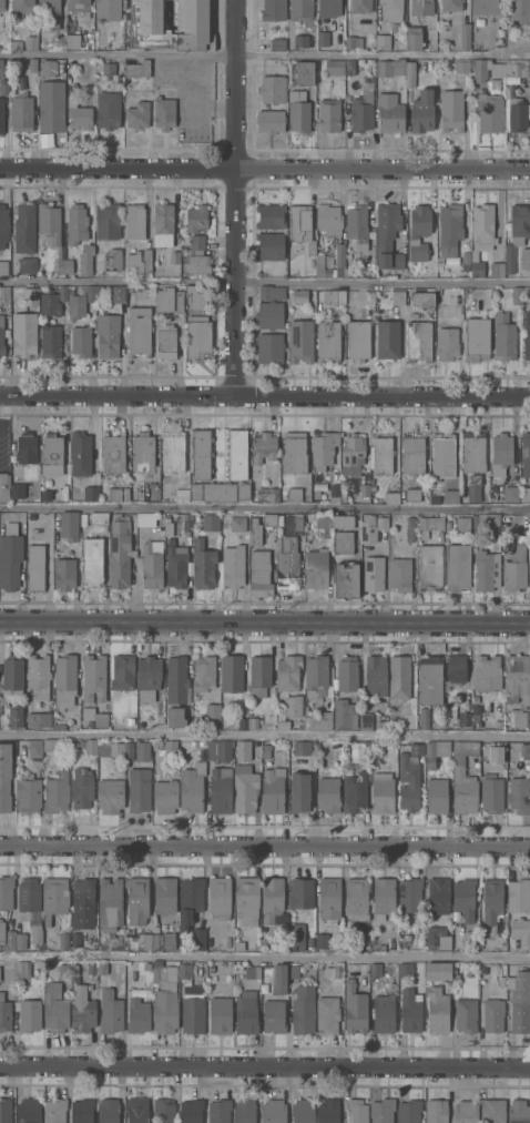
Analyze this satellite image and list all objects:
building: (1, 4)
building: (359, 4)
building: (450, 4)
building: (485, 6)
building: (21, 7)
building: (79, 7)
building: (327, 7)
building: (420, 7)
building: (108, 9)
building: (271, 9)
building: (390, 9)
building: (300, 10)
building: (520, 10)
building: (49, 13)
building: (146, 23)
building: (465, 34)
building: (414, 36)
building: (322, 37)
building: (299, 39)
building: (59, 40)
building: (72, 40)
building: (381, 40)
building: (31, 41)
building: (353, 41)
building: (277, 42)
building: (16, 43)
road: (115, 54)
road: (380, 55)
building: (32, 62)
building: (460, 63)
building: (517, 64)
building: (1, 65)
building: (48, 65)
building: (334, 65)
building: (351, 65)
building: (390, 65)
building: (106, 67)
building: (136, 67)
building: (303, 70)
building: (498, 70)
building: (410, 71)
building: (509, 77)
building: (3, 85)
building: (272, 87)
building: (51, 104)
building: (361, 107)
building: (106, 108)
building: (451, 108)
building: (298, 109)
building: (421, 109)
building: (21, 110)
building: (163, 110)
building: (489, 110)
building: (389, 111)
building: (137, 112)
building: (517, 112)
building: (78, 113)
building: (328, 113)
building: (2, 118)
building: (269, 119)
road: (265, 166)
road: (231, 195)
building: (271, 214)
building: (196, 216)
building: (328, 216)
building: (106, 219)
building: (420, 219)
building: (133, 220)
building: (482, 221)
building: (75, 222)
building: (3, 223)
building: (48, 223)
building: (162, 223)
building: (302, 223)
building: (356, 223)
building: (24, 226)
building: (449, 226)
building: (517, 230)
building: (387, 233)
building: (196, 241)
building: (269, 243)
building: (417, 247)
building: (339, 252)
building: (174, 254)
building: (466, 256)
building: (85, 257)
building: (112, 257)
building: (524, 259)
building: (137, 260)
building: (195, 261)
building: (27, 263)
building: (319, 263)
building: (69, 264)
building: (3, 265)
building: (61, 265)
building: (496, 267)
building: (370, 269)
building: (476, 270)
road: (265, 281)
building: (61, 291)
building: (91, 291)
building: (271, 291)
building: (6, 292)
building: (116, 293)
building: (398, 293)
building: (516, 293)
building: (30, 294)
building: (196, 294)
building: (299, 294)
building: (328, 297)
building: (422, 297)
building: (164, 299)
building: (179, 300)
building: (49, 302)
building: (75, 304)
building: (269, 313)
building: (139, 330)
building: (23, 332)
building: (197, 332)
building: (108, 333)
building: (526, 333)
building: (1, 335)
building: (503, 335)
building: (477, 336)
building: (387, 337)
building: (299, 338)
building: (327, 338)
building: (358, 338)
building: (418, 338)
building: (50, 340)
building: (80, 340)
building: (165, 340)
building: (447, 341)
building: (268, 346)
road: (265, 392)
building: (263, 444)
building: (26, 446)
building: (172, 448)
building: (324, 448)
building: (294, 449)
building: (52, 451)
building: (112, 451)
building: (201, 451)
building: (80, 452)
building: (236, 452)
building: (351, 452)
building: (472, 452)
building: (500, 452)
building: (143, 453)
building: (412, 453)
building: (526, 453)
building: (381, 454)
building: (442, 454)
building: (3, 485)
building: (373, 486)
building: (17, 488)
building: (220, 489)
building: (334, 490)
building: (364, 490)
building: (473, 490)
building: (91, 492)
building: (114, 492)
building: (294, 492)
building: (509, 492)
building: (266, 493)
building: (412, 493)
building: (526, 493)
building: (181, 494)
building: (391, 495)
building: (451, 495)
building: (434, 497)
road: (265, 509)
building: (99, 516)
building: (146, 517)
building: (269, 517)
building: (82, 518)
building: (186, 519)
building: (210, 520)
building: (278, 520)
building: (324, 520)
building: (344, 520)
building: (237, 522)
building: (297, 522)
building: (430, 522)
building: (462, 522)
building: (69, 523)
building: (489, 523)
building: (448, 524)
building: (370, 526)
building: (409, 527)
building: (254, 529)
building: (324, 533)
building: (343, 539)
building: (119, 553)
building: (92, 560)
building: (288, 561)
building: (151, 563)
building: (202, 563)
building: (175, 564)
building: (429, 564)
building: (34, 565)
building: (233, 565)
building: (457, 565)
building: (317, 567)
building: (514, 568)
building: (482, 569)
building: (9, 570)
building: (64, 571)
building: (259, 571)
building: (373, 571)
building: (400, 573)
building: (529, 576)
building: (346, 577)
road: (265, 620)
building: (455, 667)
building: (122, 670)
building: (204, 670)
building: (288, 670)
building: (12, 671)
building: (232, 671)
building: (487, 671)
building: (316, 672)
building: (346, 672)
building: (38, 674)
building: (258, 674)
building: (376, 674)
building: (93, 676)
building: (149, 676)
building: (399, 676)
building: (65, 677)
building: (429, 678)
building: (517, 678)
building: (176, 679)
building: (476, 697)
building: (292, 704)
building: (215, 710)
building: (344, 712)
building: (14, 715)
building: (94, 715)
building: (175, 716)
building: (476, 716)
building: (519, 716)
building: (465, 717)
building: (38, 718)
building: (422, 718)
building: (367, 719)
building: (68, 720)
building: (130, 720)
building: (317, 720)
building: (241, 721)
building: (252, 721)
building: (498, 721)
building: (299, 722)
building: (380, 722)
building: (283, 724)
road: (265, 737)
building: (50, 742)
building: (81, 742)
building: (73, 743)
building: (365, 743)
building: (91, 745)
building: (167, 746)
building: (465, 746)
building: (218, 747)
building: (34, 748)
building: (111, 748)
building: (242, 748)
building: (302, 748)
building: (416, 748)
building: (142, 749)
building: (265, 750)
building: (435, 750)
building: (523, 750)
building: (129, 751)
building: (355, 753)
building: (498, 763)
building: (521, 767)
building: (4, 775)
building: (408, 781)
building: (81, 786)
building: (245, 787)
building: (462, 787)
building: (139, 788)
building: (191, 788)
building: (220, 788)
building: (273, 789)
building: (55, 790)
building: (299, 790)
building: (355, 790)
building: (381, 791)
building: (28, 792)
building: (328, 792)
building: (491, 792)
building: (110, 793)
building: (437, 793)
building: (519, 793)
building: (165, 795)
road: (265, 846)
building: (6, 890)
building: (300, 892)
building: (29, 893)
building: (164, 893)
building: (409, 893)
building: (438, 893)
building: (518, 893)
building: (54, 896)
building: (220, 896)
building: (384, 896)
building: (463, 896)
building: (191, 897)
building: (246, 897)
building: (271, 897)
building: (356, 897)
building: (136, 898)
building: (328, 898)
building: (82, 901)
building: (110, 903)
building: (491, 903)
building: (34, 929)
building: (520, 929)
building: (7, 935)
building: (438, 935)
building: (75, 938)
building: (197, 938)
building: (20, 939)
building: (295, 939)
building: (63, 940)
building: (144, 940)
building: (156, 940)
building: (169, 940)
building: (322, 940)
building: (237, 945)
building: (380, 945)
road: (265, 955)
building: (146, 963)
building: (318, 964)
building: (91, 967)
building: (102, 967)
building: (22, 968)
building: (375, 968)
building: (63, 969)
building: (185, 969)
building: (296, 969)
building: (333, 969)
building: (405, 969)
building: (438, 969)
building: (252, 970)
building: (159, 972)
building: (456, 974)
building: (278, 977)
building: (502, 981)
building: (520, 1001)
building: (54, 1006)
building: (355, 1006)
building: (81, 1008)
building: (437, 1008)
building: (303, 1009)
building: (410, 1009)
building: (110, 1010)
building: (164, 1010)
building: (4, 1012)
building: (327, 1012)
building: (384, 1012)
building: (192, 1013)
building: (220, 1013)
building: (466, 1013)
building: (492, 1013)
building: (29, 1014)
building: (137, 1014)
building: (246, 1014)
building: (273, 1014)
road: (265, 1066)
building: (136, 1109)
building: (4, 1110)
building: (28, 1110)
building: (53, 1110)
building: (81, 1110)
building: (108, 1110)
building: (163, 1110)
building: (191, 1110)
building: (218, 1110)
building: (244, 1110)
building: (303, 1110)
building: (356, 1110)
building: (381, 1110)
building: (492, 1110)
building: (274, 1111)
building: (328, 1111)
building: (409, 1111)
building: (436, 1111)
building: (465, 1111)
building: (518, 1111)

